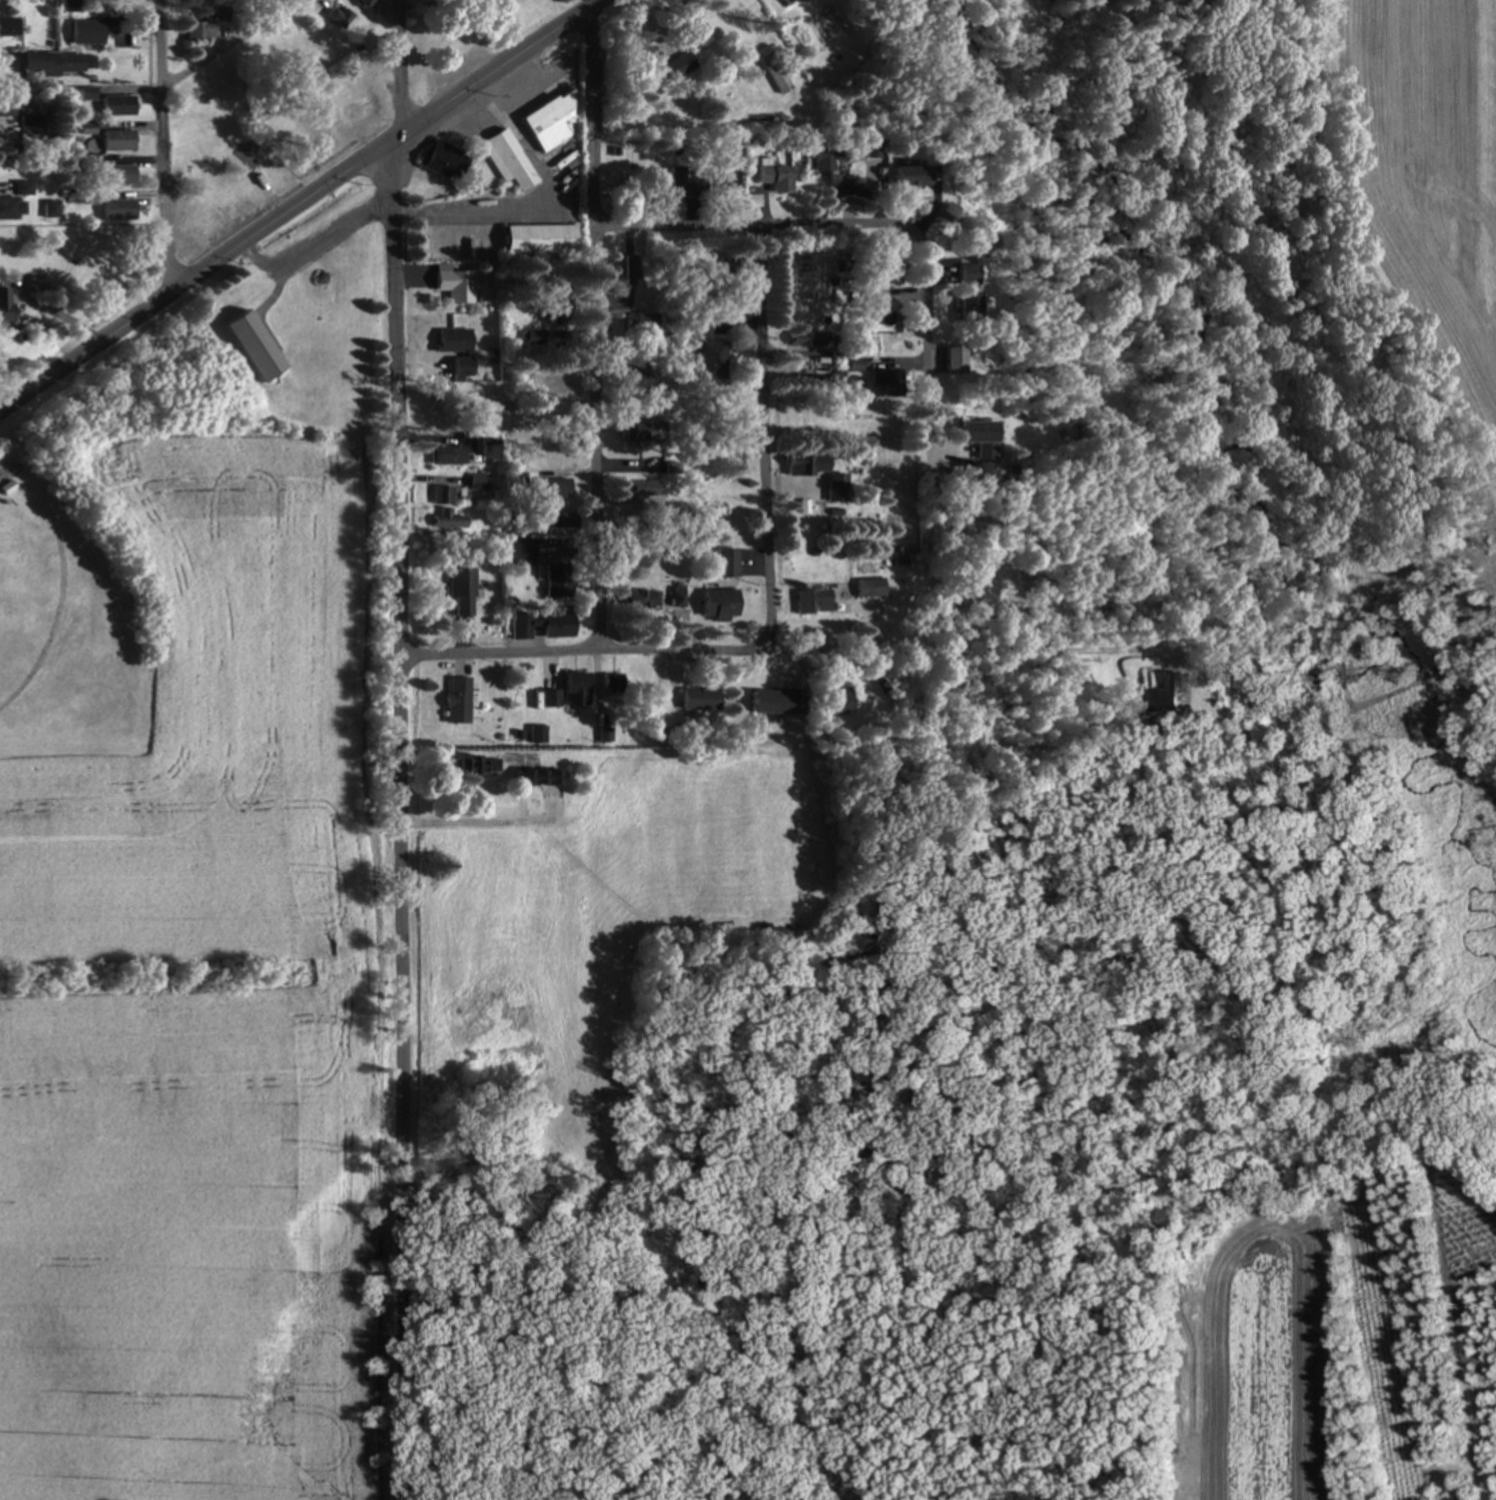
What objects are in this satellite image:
building: (781, 1)
building: (363, 2)
building: (71, 6)
building: (338, 17)
building: (690, 26)
building: (7, 28)
building: (198, 30)
building: (84, 32)
road: (223, 46)
building: (48, 63)
building: (678, 66)
building: (774, 72)
road: (395, 77)
building: (513, 102)
building: (8, 106)
building: (115, 106)
building: (356, 106)
building: (547, 122)
road: (588, 123)
building: (30, 126)
building: (115, 141)
road: (410, 145)
road: (156, 151)
building: (827, 159)
building: (506, 160)
building: (443, 161)
building: (116, 175)
building: (728, 175)
building: (773, 176)
building: (906, 178)
building: (195, 182)
building: (677, 182)
building: (245, 196)
building: (14, 201)
building: (117, 210)
road: (812, 222)
building: (537, 239)
building: (734, 266)
building: (883, 268)
building: (630, 270)
building: (966, 274)
building: (453, 283)
building: (314, 285)
building: (4, 303)
building: (965, 305)
building: (644, 323)
road: (921, 337)
building: (805, 338)
building: (451, 339)
building: (251, 345)
building: (704, 348)
road: (104, 356)
building: (953, 358)
building: (853, 363)
building: (638, 378)
building: (885, 382)
road: (399, 405)
building: (643, 430)
road: (594, 435)
building: (976, 435)
road: (761, 436)
road: (1150, 439)
building: (487, 448)
building: (440, 455)
building: (805, 465)
building: (836, 487)
building: (552, 488)
building: (440, 495)
building: (445, 520)
building: (515, 551)
building: (723, 562)
building: (555, 579)
building: (867, 587)
building: (457, 589)
building: (641, 599)
building: (810, 601)
building: (717, 604)
building: (521, 623)
building: (555, 623)
road: (858, 649)
building: (611, 682)
building: (567, 691)
building: (1158, 696)
building: (455, 699)
building: (698, 699)
building: (831, 699)
building: (773, 701)
building: (536, 734)
building: (476, 767)
building: (537, 777)
road: (396, 1077)

